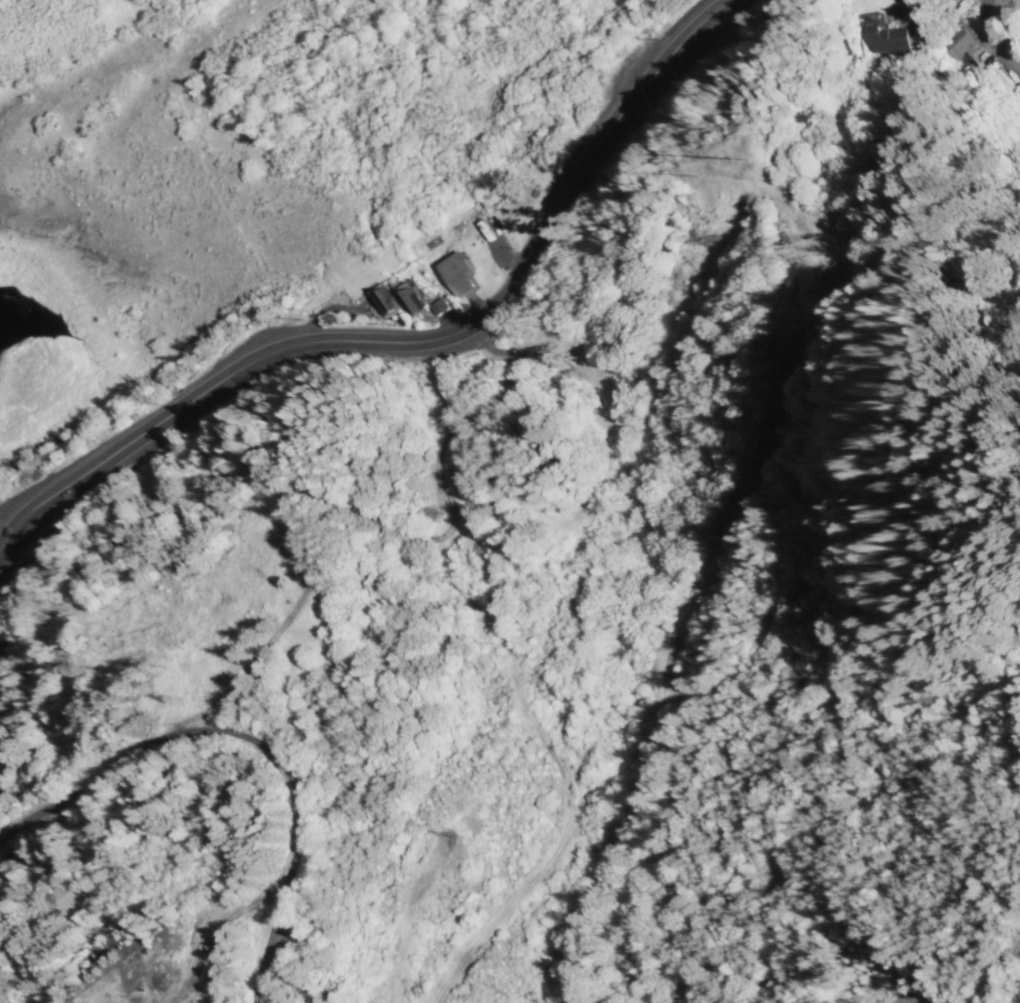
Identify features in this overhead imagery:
building: (885, 40)
power tower: (723, 164)
power tower: (817, 254)
building: (453, 273)
building: (409, 295)
building: (383, 300)
building: (436, 306)
road: (413, 346)
road: (8, 542)
road: (39, 768)
road: (38, 810)

